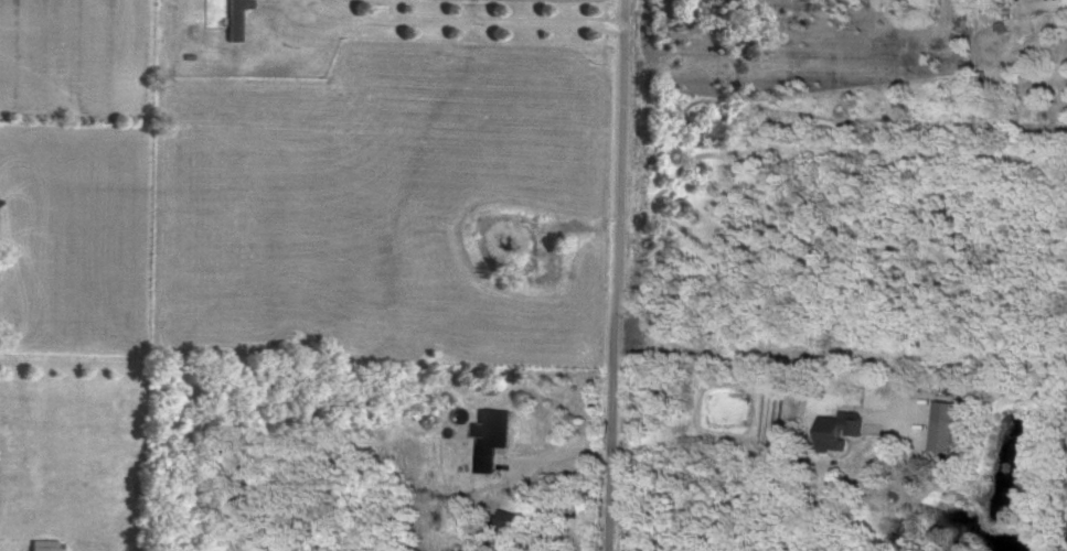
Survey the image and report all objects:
road: (343, 8)
building: (234, 18)
road: (322, 20)
road: (491, 22)
road: (616, 275)
building: (945, 424)
building: (842, 428)
building: (491, 435)
road: (850, 482)
building: (45, 544)

